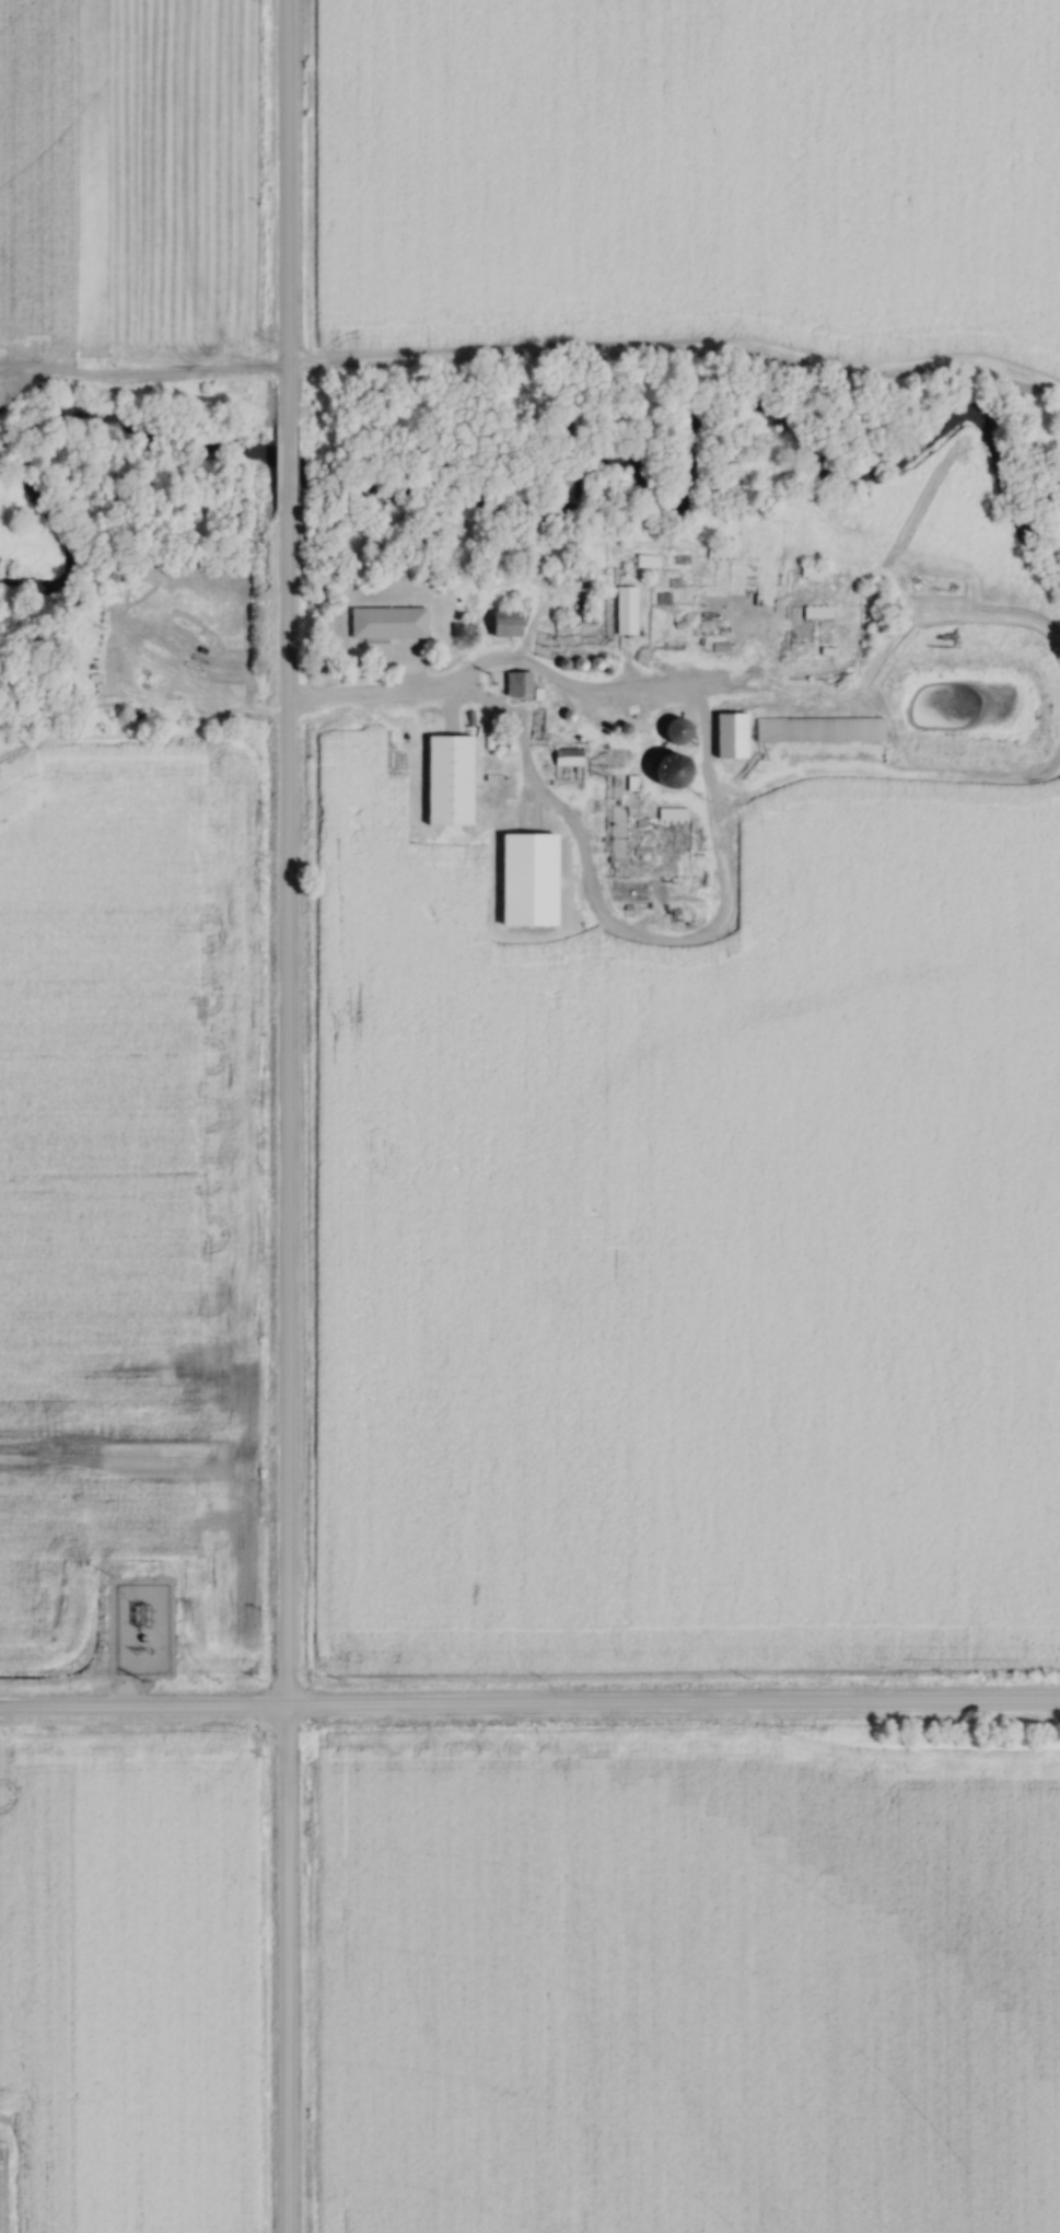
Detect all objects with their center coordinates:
crop: (38, 165)
road: (283, 213)
road: (139, 373)
road: (284, 465)
building: (720, 551)
building: (644, 562)
building: (581, 569)
building: (811, 572)
building: (625, 610)
building: (816, 611)
building: (387, 621)
building: (505, 623)
building: (517, 683)
building: (819, 728)
building: (676, 729)
building: (731, 732)
building: (567, 756)
building: (671, 768)
building: (450, 778)
building: (672, 813)
building: (627, 890)
road: (284, 1106)
road: (529, 1704)
road: (284, 1969)

